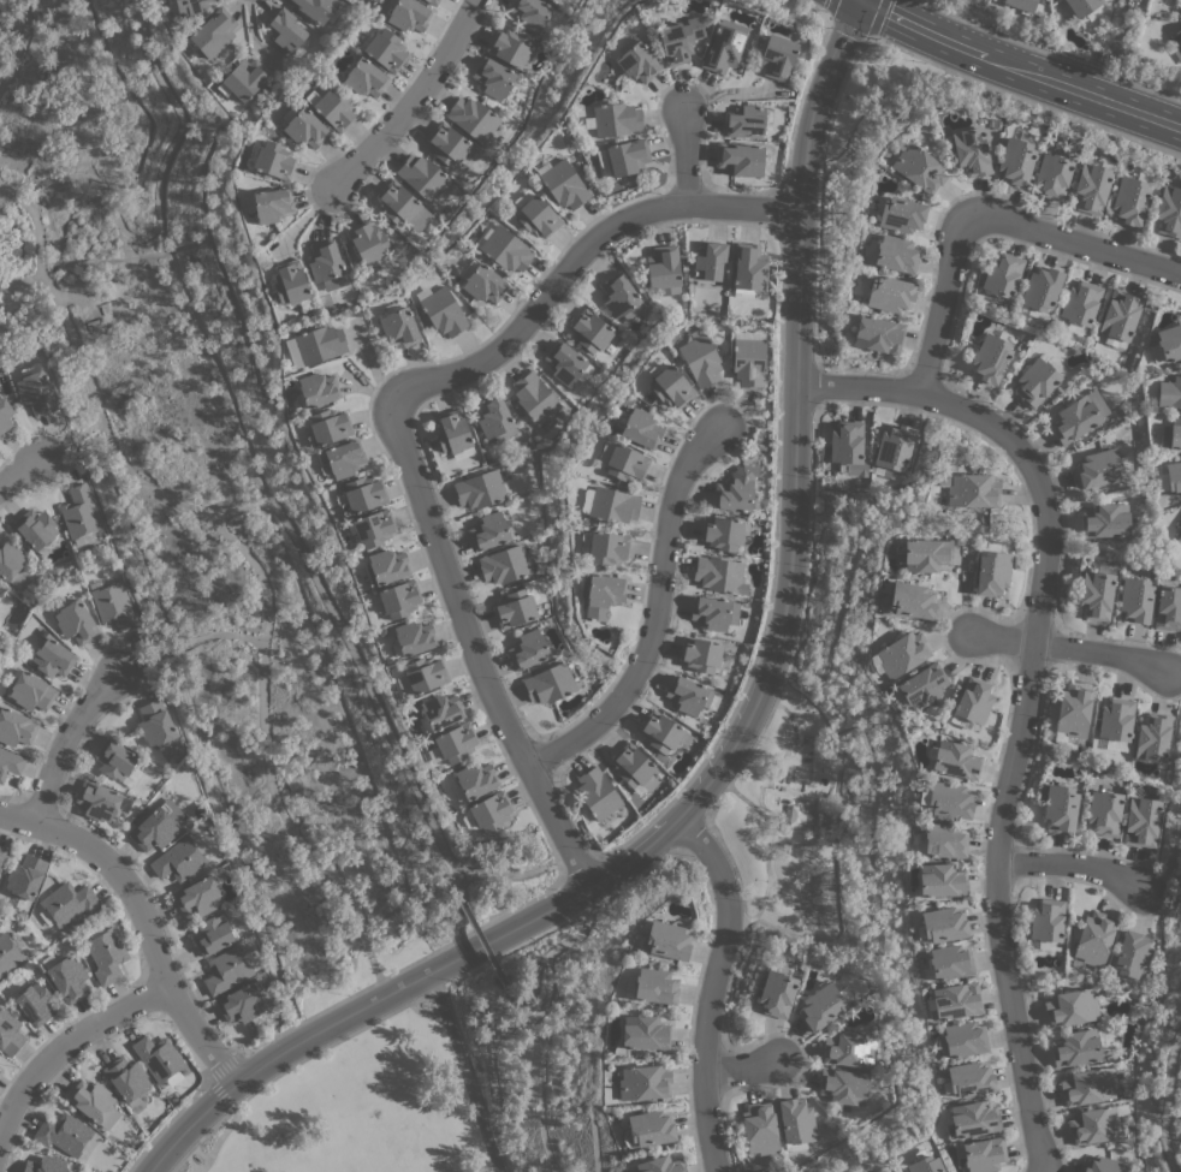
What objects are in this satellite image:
traffic signals: (860, 0)
building: (1180, 0)
building: (432, 1)
building: (556, 1)
building: (1021, 5)
building: (189, 6)
building: (1080, 6)
building: (314, 7)
building: (529, 13)
building: (408, 14)
building: (287, 31)
building: (212, 32)
road: (856, 32)
building: (681, 38)
road: (868, 38)
road: (19, 43)
building: (1176, 44)
building: (724, 46)
building: (510, 47)
building: (385, 49)
building: (777, 56)
building: (636, 60)
road: (1017, 70)
building: (364, 77)
building: (493, 77)
building: (242, 79)
road: (409, 96)
building: (332, 107)
building: (473, 118)
building: (613, 119)
building: (747, 120)
building: (303, 127)
building: (447, 144)
building: (971, 151)
building: (627, 156)
road: (682, 156)
building: (741, 159)
building: (274, 160)
building: (1015, 161)
building: (918, 166)
building: (1052, 175)
building: (422, 177)
building: (564, 184)
building: (1091, 188)
road: (156, 194)
building: (1129, 200)
building: (397, 202)
building: (272, 204)
building: (1169, 212)
building: (897, 213)
building: (536, 216)
road: (987, 216)
building: (369, 245)
building: (503, 246)
building: (896, 254)
building: (324, 261)
building: (708, 263)
building: (663, 269)
building: (748, 269)
building: (1002, 274)
road: (20, 281)
building: (481, 281)
building: (291, 285)
building: (1041, 288)
building: (886, 293)
building: (619, 297)
building: (1080, 303)
building: (441, 310)
building: (1120, 314)
building: (398, 327)
building: (589, 331)
building: (747, 334)
building: (878, 334)
building: (1169, 343)
building: (319, 344)
building: (990, 358)
building: (700, 359)
building: (748, 362)
building: (566, 363)
building: (1035, 382)
building: (669, 383)
building: (316, 388)
building: (1169, 392)
building: (36, 393)
building: (534, 398)
building: (5, 415)
building: (1078, 416)
building: (494, 418)
road: (396, 426)
building: (327, 427)
building: (640, 428)
building: (1174, 433)
building: (453, 434)
road: (71, 436)
building: (894, 447)
building: (848, 448)
building: (340, 459)
building: (623, 460)
building: (1099, 468)
road: (22, 470)
building: (1173, 477)
building: (736, 488)
building: (480, 489)
building: (969, 489)
building: (361, 495)
road: (259, 502)
building: (609, 505)
building: (79, 512)
building: (1105, 520)
building: (35, 528)
building: (372, 528)
building: (488, 530)
building: (723, 533)
building: (1177, 541)
building: (607, 547)
building: (922, 554)
building: (10, 559)
building: (505, 564)
building: (385, 566)
building: (991, 570)
building: (719, 573)
building: (603, 595)
building: (1096, 595)
building: (397, 599)
building: (1134, 599)
building: (910, 600)
building: (113, 605)
building: (1168, 607)
building: (515, 608)
building: (714, 612)
road: (653, 618)
building: (75, 621)
building: (411, 638)
road: (189, 641)
building: (528, 649)
road: (1068, 649)
building: (700, 654)
building: (902, 654)
building: (52, 658)
building: (425, 674)
road: (1177, 677)
building: (548, 683)
building: (921, 685)
building: (30, 690)
road: (1026, 690)
building: (688, 695)
building: (972, 703)
building: (440, 710)
building: (1073, 710)
building: (1115, 722)
building: (156, 725)
building: (16, 727)
building: (660, 731)
road: (744, 733)
building: (1152, 737)
road: (66, 739)
building: (455, 743)
building: (114, 760)
building: (954, 760)
building: (10, 762)
road: (266, 765)
building: (631, 765)
building: (475, 779)
building: (597, 793)
building: (944, 799)
building: (99, 801)
building: (1060, 807)
building: (489, 811)
building: (1103, 811)
building: (820, 816)
building: (1140, 821)
building: (154, 828)
building: (943, 841)
road: (1169, 849)
building: (2, 855)
building: (178, 859)
road: (1070, 865)
road: (522, 873)
building: (25, 876)
building: (940, 880)
building: (198, 896)
building: (69, 902)
road: (142, 921)
building: (1046, 923)
building: (940, 926)
building: (213, 934)
road: (576, 935)
building: (665, 940)
building: (1093, 940)
road: (480, 945)
building: (8, 953)
building: (1132, 954)
building: (106, 956)
building: (949, 962)
road: (400, 966)
building: (226, 969)
building: (67, 978)
building: (652, 986)
road: (712, 986)
building: (776, 990)
road: (425, 995)
building: (955, 1001)
building: (34, 1003)
building: (242, 1003)
building: (823, 1005)
building: (1070, 1007)
road: (533, 1017)
building: (10, 1033)
building: (642, 1034)
building: (962, 1039)
road: (67, 1042)
building: (1075, 1048)
building: (849, 1049)
building: (159, 1059)
road: (743, 1067)
road: (463, 1072)
building: (968, 1078)
road: (207, 1079)
building: (127, 1081)
building: (643, 1082)
building: (843, 1085)
building: (1086, 1087)
road: (1165, 1100)
building: (94, 1102)
building: (971, 1120)
building: (796, 1123)
building: (1094, 1125)
building: (760, 1128)
building: (648, 1129)
building: (63, 1134)
building: (983, 1154)
building: (924, 1162)
building: (44, 1165)
building: (660, 1165)
building: (1105, 1165)

